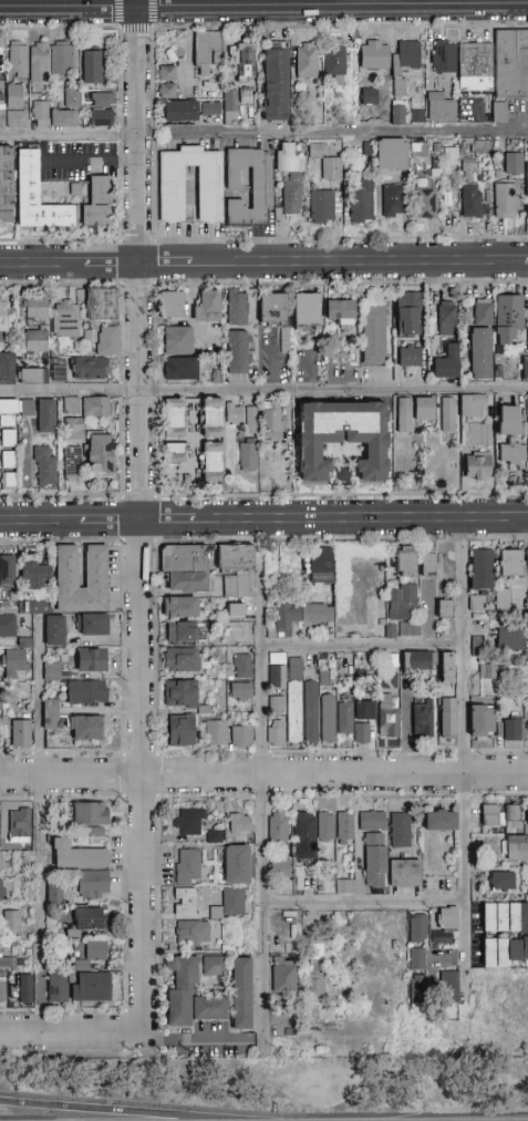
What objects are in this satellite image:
road: (334, 8)
road: (70, 9)
building: (206, 52)
building: (374, 54)
building: (444, 56)
building: (61, 58)
building: (406, 58)
building: (18, 60)
building: (1, 61)
building: (307, 61)
building: (39, 62)
building: (334, 63)
building: (244, 64)
building: (496, 65)
building: (91, 66)
building: (167, 82)
building: (276, 85)
building: (400, 88)
building: (370, 96)
building: (71, 99)
building: (17, 105)
building: (224, 107)
building: (439, 107)
building: (102, 110)
building: (180, 111)
building: (499, 112)
building: (40, 114)
building: (398, 114)
building: (1, 116)
building: (64, 117)
building: (416, 117)
road: (346, 131)
road: (70, 136)
road: (167, 137)
building: (480, 147)
road: (148, 150)
building: (315, 150)
building: (418, 150)
building: (392, 154)
building: (514, 164)
building: (332, 168)
building: (291, 175)
building: (256, 184)
building: (7, 185)
building: (469, 189)
building: (28, 191)
building: (527, 193)
building: (172, 194)
building: (392, 200)
building: (505, 200)
building: (426, 203)
building: (361, 204)
building: (323, 206)
road: (263, 264)
building: (101, 305)
building: (172, 305)
building: (207, 306)
building: (237, 307)
building: (37, 308)
building: (272, 308)
building: (307, 311)
building: (483, 311)
building: (341, 312)
building: (408, 313)
building: (3, 318)
building: (446, 318)
building: (507, 318)
building: (66, 319)
building: (374, 336)
building: (34, 340)
building: (178, 340)
building: (0, 341)
building: (106, 341)
building: (239, 352)
building: (480, 353)
building: (411, 357)
building: (447, 363)
building: (7, 369)
building: (90, 369)
building: (180, 369)
building: (525, 369)
building: (55, 371)
building: (33, 377)
road: (263, 391)
building: (71, 405)
building: (526, 405)
building: (96, 407)
building: (473, 407)
building: (9, 408)
building: (27, 408)
building: (414, 412)
building: (235, 414)
building: (448, 414)
building: (46, 416)
building: (249, 418)
building: (174, 419)
building: (7, 421)
building: (271, 421)
building: (509, 421)
building: (73, 429)
building: (342, 436)
building: (8, 439)
building: (211, 440)
building: (527, 443)
building: (175, 453)
building: (100, 455)
building: (248, 456)
building: (8, 460)
building: (513, 461)
building: (72, 464)
building: (478, 464)
building: (44, 466)
building: (8, 481)
road: (142, 516)
road: (361, 520)
road: (527, 520)
road: (111, 522)
road: (168, 522)
road: (40, 523)
building: (510, 563)
building: (404, 564)
building: (321, 565)
building: (428, 565)
building: (96, 566)
building: (185, 567)
building: (236, 568)
building: (482, 569)
building: (8, 572)
building: (34, 574)
building: (504, 599)
building: (477, 603)
building: (180, 607)
building: (33, 608)
building: (403, 608)
building: (236, 609)
building: (445, 609)
building: (300, 617)
building: (478, 619)
building: (7, 620)
building: (93, 625)
building: (54, 630)
building: (185, 634)
building: (509, 639)
building: (476, 642)
road: (362, 647)
building: (92, 660)
building: (180, 660)
building: (420, 661)
building: (244, 662)
building: (14, 665)
building: (442, 665)
building: (277, 670)
building: (52, 671)
building: (488, 671)
building: (87, 692)
building: (241, 692)
building: (180, 693)
road: (40, 700)
building: (294, 700)
building: (277, 706)
building: (312, 711)
building: (365, 711)
building: (51, 714)
building: (389, 717)
building: (422, 717)
building: (448, 717)
building: (329, 718)
building: (345, 719)
building: (482, 720)
building: (526, 726)
building: (85, 728)
building: (510, 730)
building: (180, 731)
building: (217, 732)
building: (20, 733)
building: (276, 733)
building: (362, 733)
building: (242, 737)
road: (459, 759)
road: (263, 777)
road: (262, 809)
building: (91, 814)
building: (527, 814)
building: (500, 816)
building: (441, 820)
building: (373, 821)
building: (189, 822)
building: (240, 824)
building: (19, 826)
building: (277, 827)
building: (325, 827)
building: (345, 827)
building: (93, 830)
building: (303, 830)
building: (400, 830)
building: (216, 837)
building: (516, 847)
building: (77, 856)
building: (375, 860)
building: (1, 862)
building: (236, 864)
building: (188, 866)
building: (281, 867)
building: (405, 873)
building: (501, 882)
building: (93, 885)
building: (345, 886)
building: (2, 889)
building: (185, 902)
road: (362, 903)
building: (229, 905)
road: (42, 906)
building: (506, 917)
building: (86, 919)
building: (11, 921)
building: (445, 925)
building: (417, 929)
building: (188, 932)
building: (504, 950)
building: (87, 953)
building: (417, 959)
building: (4, 960)
building: (214, 966)
building: (283, 975)
building: (315, 985)
building: (56, 987)
building: (92, 987)
building: (449, 987)
building: (417, 988)
building: (2, 989)
building: (22, 989)
building: (241, 994)
building: (190, 998)
road: (71, 1035)
road: (194, 1041)
road: (111, 1112)

